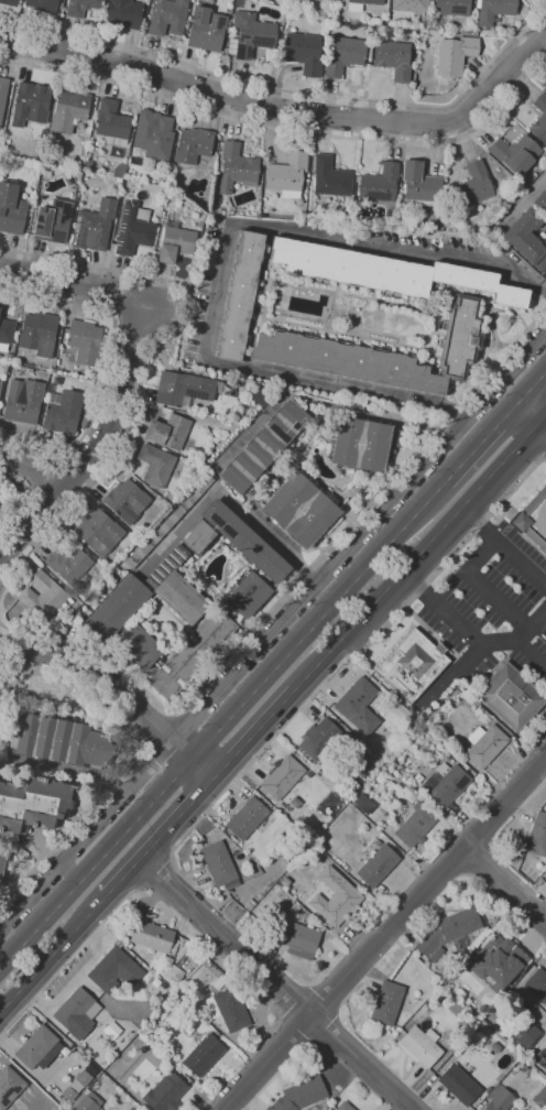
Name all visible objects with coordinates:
building: (331, 0)
building: (9, 2)
building: (360, 4)
building: (411, 4)
building: (42, 6)
building: (59, 6)
building: (81, 7)
building: (452, 7)
building: (493, 10)
building: (125, 12)
building: (166, 17)
building: (228, 22)
building: (186, 25)
building: (206, 30)
building: (227, 30)
building: (250, 35)
building: (305, 53)
building: (342, 55)
building: (455, 55)
building: (393, 58)
road: (503, 75)
building: (544, 84)
road: (291, 92)
building: (3, 94)
road: (227, 100)
building: (30, 104)
building: (68, 110)
building: (539, 120)
building: (111, 123)
road: (286, 130)
building: (154, 134)
building: (193, 145)
building: (515, 154)
building: (236, 168)
building: (286, 175)
building: (330, 177)
building: (119, 181)
building: (379, 183)
building: (215, 185)
building: (419, 185)
building: (473, 186)
building: (76, 194)
road: (524, 198)
building: (216, 200)
building: (540, 202)
building: (11, 209)
building: (263, 216)
building: (53, 221)
building: (94, 226)
building: (132, 228)
building: (527, 238)
building: (175, 242)
road: (226, 252)
building: (384, 272)
road: (76, 279)
building: (239, 295)
building: (6, 334)
building: (39, 334)
building: (83, 341)
building: (382, 353)
building: (8, 357)
road: (106, 363)
road: (146, 368)
building: (0, 383)
road: (534, 387)
building: (182, 389)
building: (259, 396)
building: (23, 401)
building: (89, 401)
building: (62, 411)
road: (533, 411)
road: (456, 416)
building: (84, 422)
building: (167, 432)
road: (95, 444)
building: (362, 444)
building: (263, 447)
road: (32, 463)
building: (155, 465)
building: (0, 493)
road: (24, 498)
building: (127, 501)
road: (229, 501)
building: (299, 509)
building: (533, 520)
building: (167, 521)
building: (99, 532)
road: (359, 536)
road: (503, 545)
road: (419, 553)
building: (70, 567)
road: (357, 578)
road: (293, 584)
road: (490, 594)
building: (43, 596)
building: (185, 600)
building: (114, 608)
road: (440, 610)
parking lot: (485, 610)
building: (139, 647)
road: (525, 652)
road: (356, 655)
road: (463, 663)
building: (412, 665)
road: (95, 676)
building: (511, 696)
building: (3, 698)
building: (358, 705)
road: (159, 728)
road: (253, 736)
building: (318, 740)
building: (57, 741)
building: (484, 744)
road: (183, 750)
road: (521, 753)
road: (522, 757)
road: (130, 763)
road: (203, 769)
building: (360, 774)
building: (282, 776)
building: (356, 782)
building: (445, 784)
building: (295, 802)
building: (33, 804)
building: (432, 809)
building: (312, 817)
building: (245, 818)
building: (419, 820)
building: (537, 836)
road: (160, 838)
building: (376, 844)
road: (77, 845)
building: (2, 864)
road: (96, 864)
building: (219, 864)
building: (378, 866)
road: (70, 872)
road: (159, 872)
road: (505, 883)
building: (335, 897)
building: (249, 904)
road: (384, 933)
building: (298, 934)
building: (451, 934)
building: (151, 936)
building: (128, 945)
road: (53, 954)
road: (70, 959)
building: (496, 964)
building: (170, 970)
building: (114, 971)
road: (276, 983)
building: (535, 989)
building: (201, 997)
building: (386, 1003)
building: (228, 1009)
building: (76, 1013)
building: (481, 1026)
building: (188, 1030)
building: (526, 1035)
building: (421, 1046)
building: (39, 1047)
building: (204, 1056)
road: (23, 1077)
building: (83, 1078)
building: (37, 1082)
building: (459, 1085)
building: (10, 1086)
building: (75, 1087)
building: (305, 1092)
building: (68, 1093)
building: (165, 1093)
building: (540, 1098)
building: (499, 1099)
road: (42, 1104)
building: (85, 1104)
building: (281, 1104)
building: (343, 1107)
building: (129, 1109)

